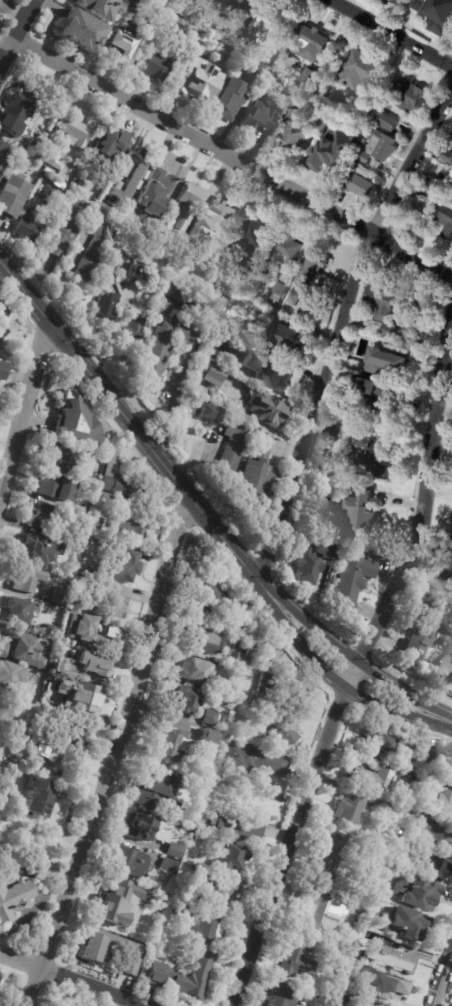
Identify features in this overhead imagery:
building: (169, 3)
building: (136, 5)
building: (229, 6)
building: (99, 7)
road: (13, 8)
building: (439, 17)
building: (274, 21)
road: (17, 30)
building: (81, 30)
building: (181, 32)
road: (391, 33)
building: (238, 39)
building: (124, 42)
building: (311, 42)
road: (3, 50)
building: (157, 67)
building: (255, 70)
building: (360, 74)
building: (308, 78)
building: (198, 79)
building: (407, 95)
building: (229, 99)
building: (325, 107)
building: (18, 110)
building: (259, 118)
building: (386, 118)
building: (294, 132)
building: (76, 134)
building: (382, 145)
building: (105, 150)
building: (335, 151)
building: (447, 153)
road: (233, 155)
building: (5, 156)
building: (50, 157)
building: (364, 157)
building: (135, 169)
building: (48, 178)
building: (378, 180)
building: (432, 184)
building: (360, 185)
building: (95, 189)
building: (154, 192)
building: (12, 195)
building: (107, 196)
building: (187, 205)
building: (424, 210)
building: (220, 219)
building: (29, 221)
building: (447, 222)
building: (68, 225)
building: (164, 225)
building: (255, 242)
building: (95, 247)
building: (283, 253)
building: (132, 255)
building: (139, 258)
building: (126, 269)
building: (313, 271)
building: (277, 294)
building: (181, 295)
building: (294, 298)
building: (106, 307)
building: (383, 310)
building: (3, 312)
building: (422, 313)
road: (340, 324)
building: (134, 327)
building: (370, 338)
building: (403, 338)
building: (286, 341)
building: (0, 348)
building: (161, 352)
building: (389, 359)
building: (3, 368)
building: (268, 372)
building: (214, 376)
building: (378, 399)
building: (192, 406)
building: (268, 407)
road: (25, 410)
building: (210, 414)
road: (171, 415)
building: (76, 422)
building: (234, 448)
building: (66, 452)
building: (367, 455)
building: (257, 475)
building: (336, 476)
building: (120, 479)
building: (57, 485)
building: (88, 506)
building: (359, 516)
building: (55, 517)
road: (208, 517)
building: (132, 522)
building: (451, 537)
building: (40, 550)
building: (315, 563)
building: (123, 566)
building: (85, 571)
building: (447, 575)
building: (30, 579)
building: (353, 580)
building: (81, 589)
building: (211, 594)
building: (60, 595)
building: (114, 603)
building: (20, 610)
building: (197, 611)
building: (72, 620)
building: (53, 631)
building: (114, 634)
building: (426, 635)
building: (204, 639)
building: (12, 640)
building: (90, 648)
building: (235, 657)
road: (357, 660)
building: (44, 661)
building: (94, 664)
building: (198, 671)
building: (11, 675)
building: (451, 677)
building: (227, 690)
building: (82, 695)
building: (1, 698)
building: (183, 699)
building: (0, 710)
building: (273, 713)
building: (212, 716)
building: (49, 719)
building: (22, 726)
building: (0, 730)
building: (79, 735)
building: (211, 735)
building: (177, 744)
building: (389, 744)
road: (111, 753)
building: (431, 756)
building: (254, 759)
building: (15, 760)
building: (55, 761)
building: (449, 765)
building: (7, 772)
building: (372, 777)
building: (218, 780)
building: (434, 785)
building: (156, 789)
building: (41, 797)
building: (389, 803)
building: (445, 803)
building: (351, 807)
building: (140, 826)
building: (235, 828)
building: (430, 829)
building: (175, 850)
building: (417, 850)
building: (335, 855)
building: (230, 857)
building: (132, 862)
building: (169, 865)
building: (37, 867)
building: (436, 869)
building: (215, 889)
building: (417, 892)
building: (14, 897)
building: (116, 905)
building: (176, 911)
building: (321, 913)
building: (406, 923)
building: (205, 929)
building: (373, 938)
building: (101, 949)
building: (134, 951)
building: (399, 960)
building: (295, 961)
building: (129, 967)
building: (185, 976)
road: (71, 979)
building: (1, 981)
building: (358, 986)
road: (444, 986)
building: (395, 990)
building: (275, 1001)
building: (367, 1004)

